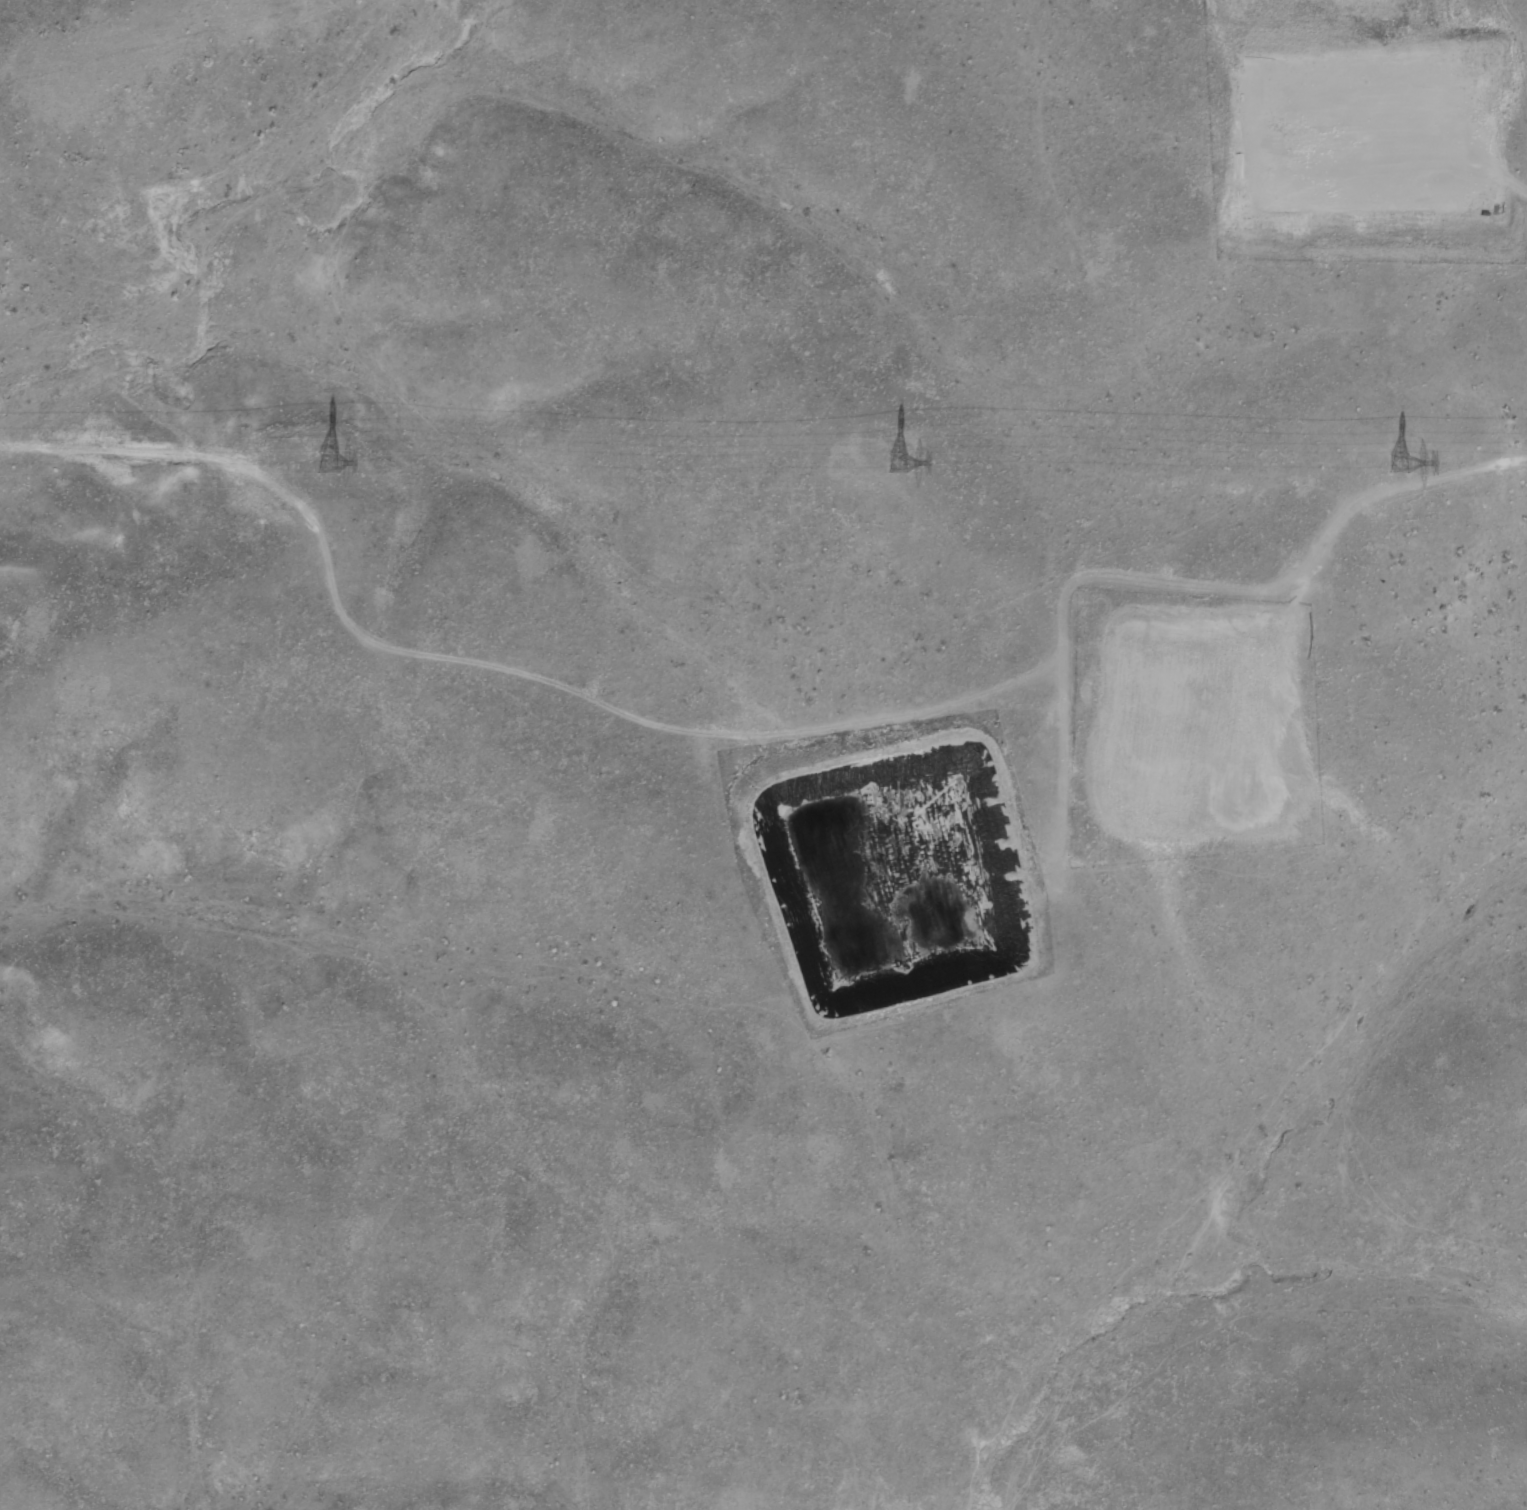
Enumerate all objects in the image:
power tower: (326, 463)
power tower: (897, 464)
power tower: (1398, 465)
road: (881, 989)

